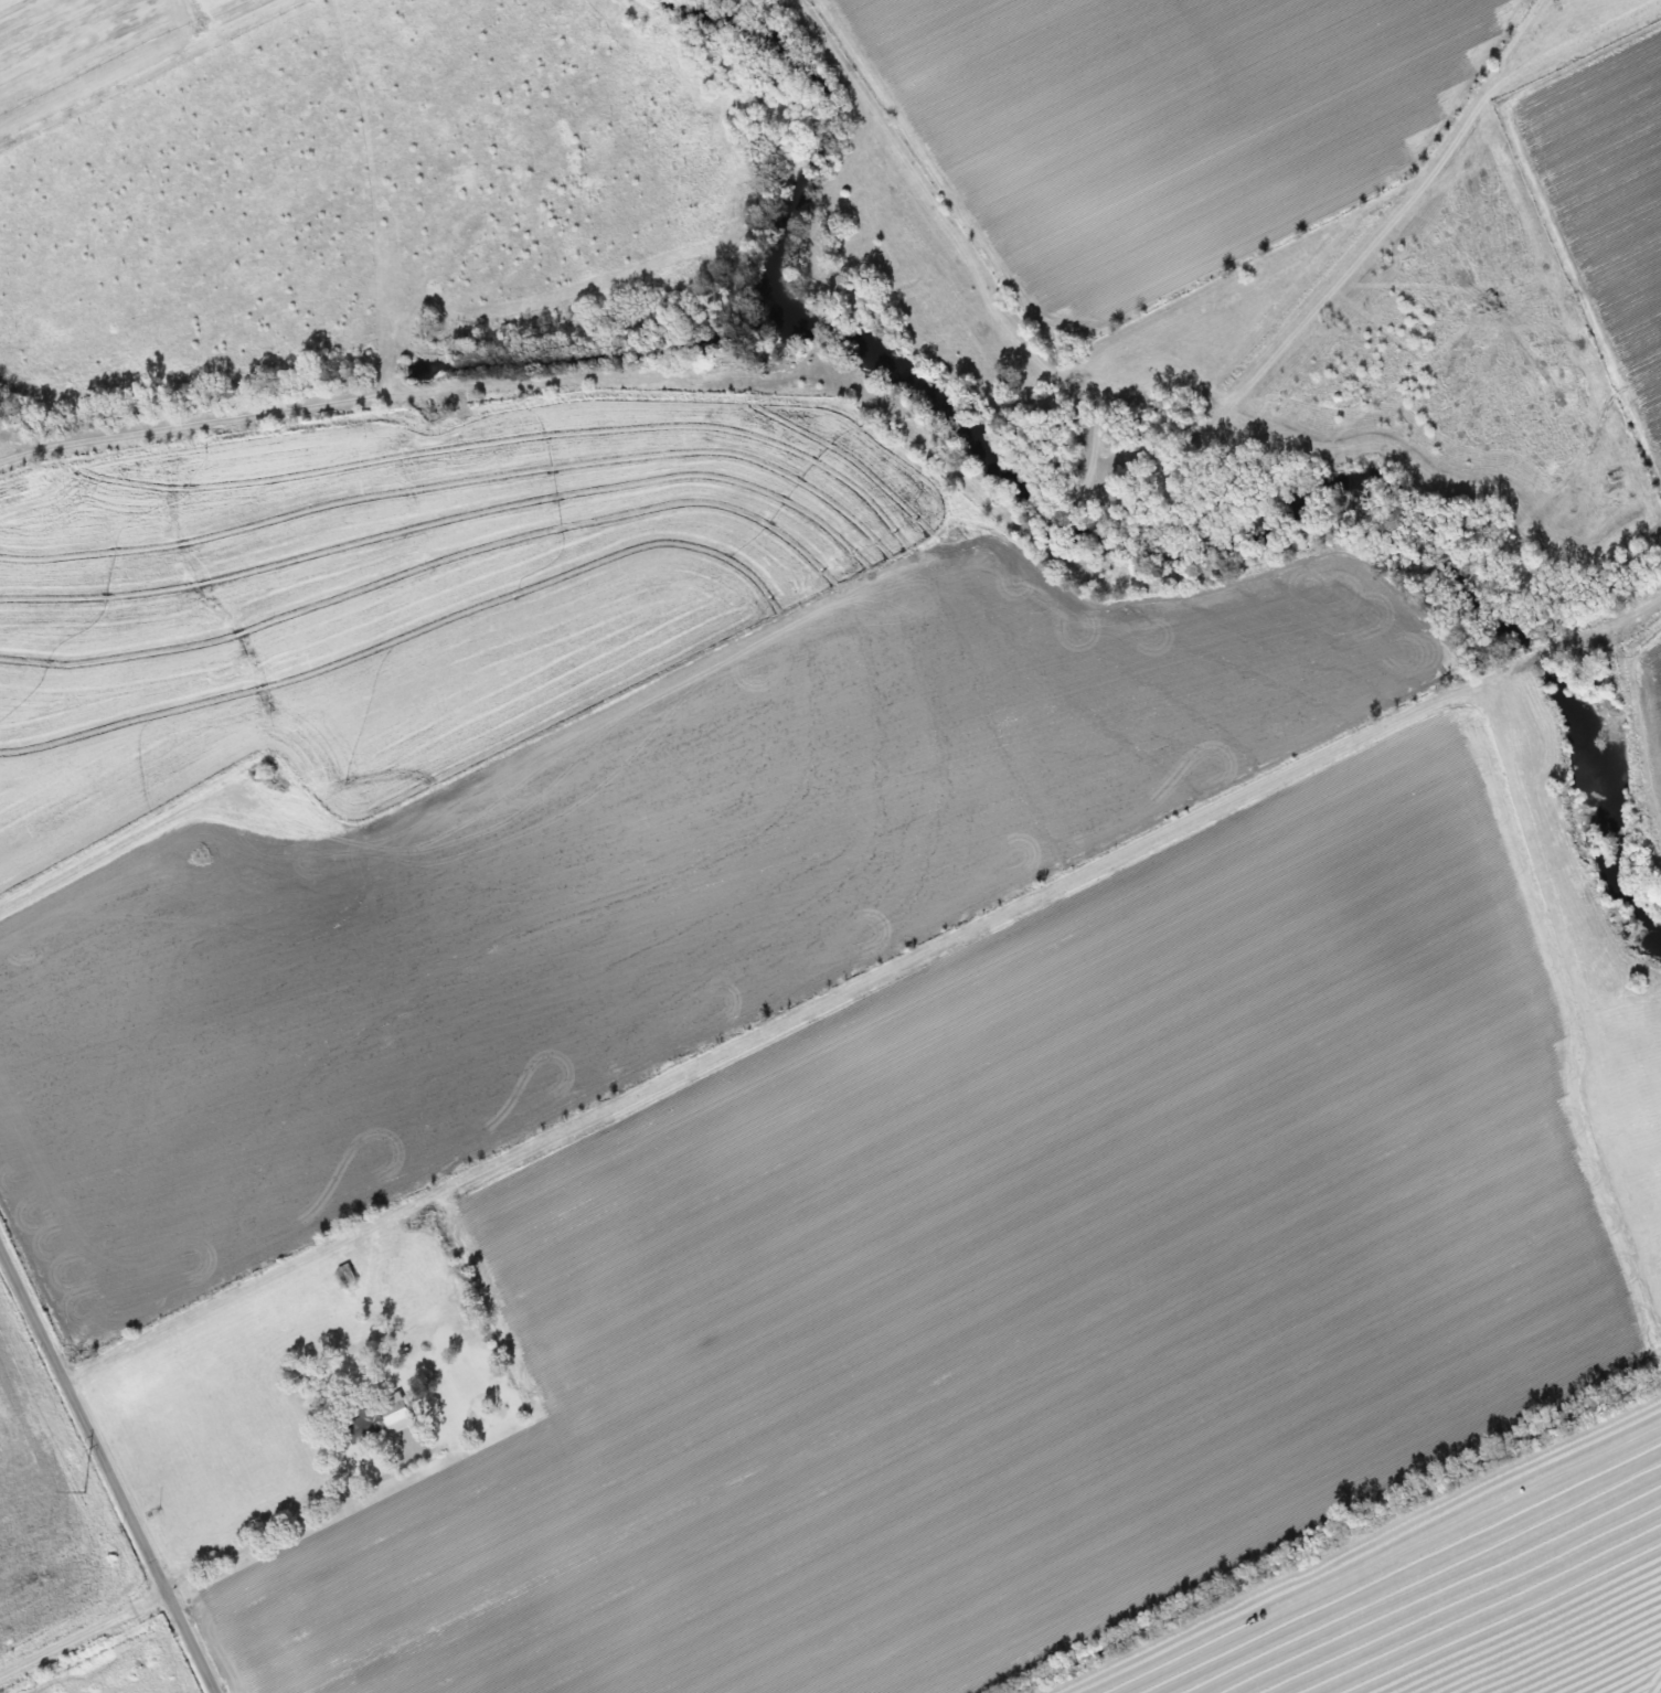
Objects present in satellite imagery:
road: (949, 936)
building: (1603, 1108)
building: (1660, 1192)
building: (371, 1420)
road: (108, 1468)
power tower: (83, 1492)
road: (211, 1559)

